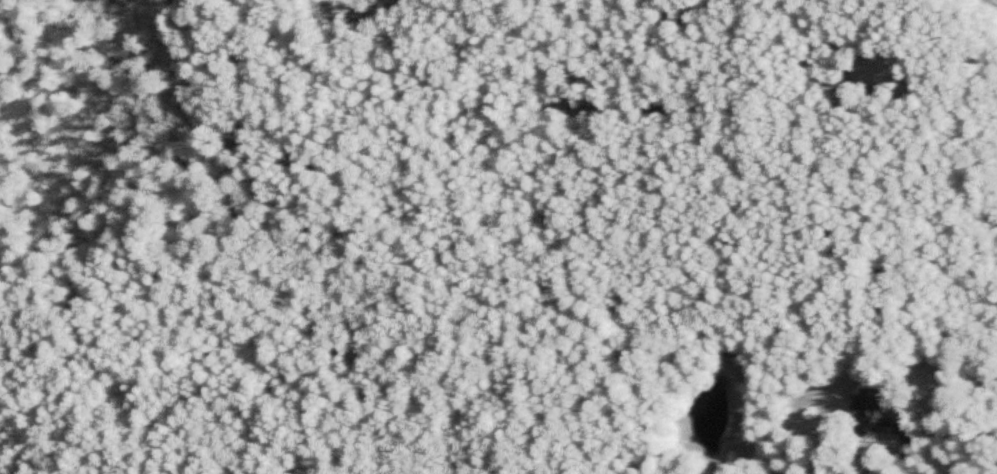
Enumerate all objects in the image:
building: (866, 413)
road: (946, 428)

